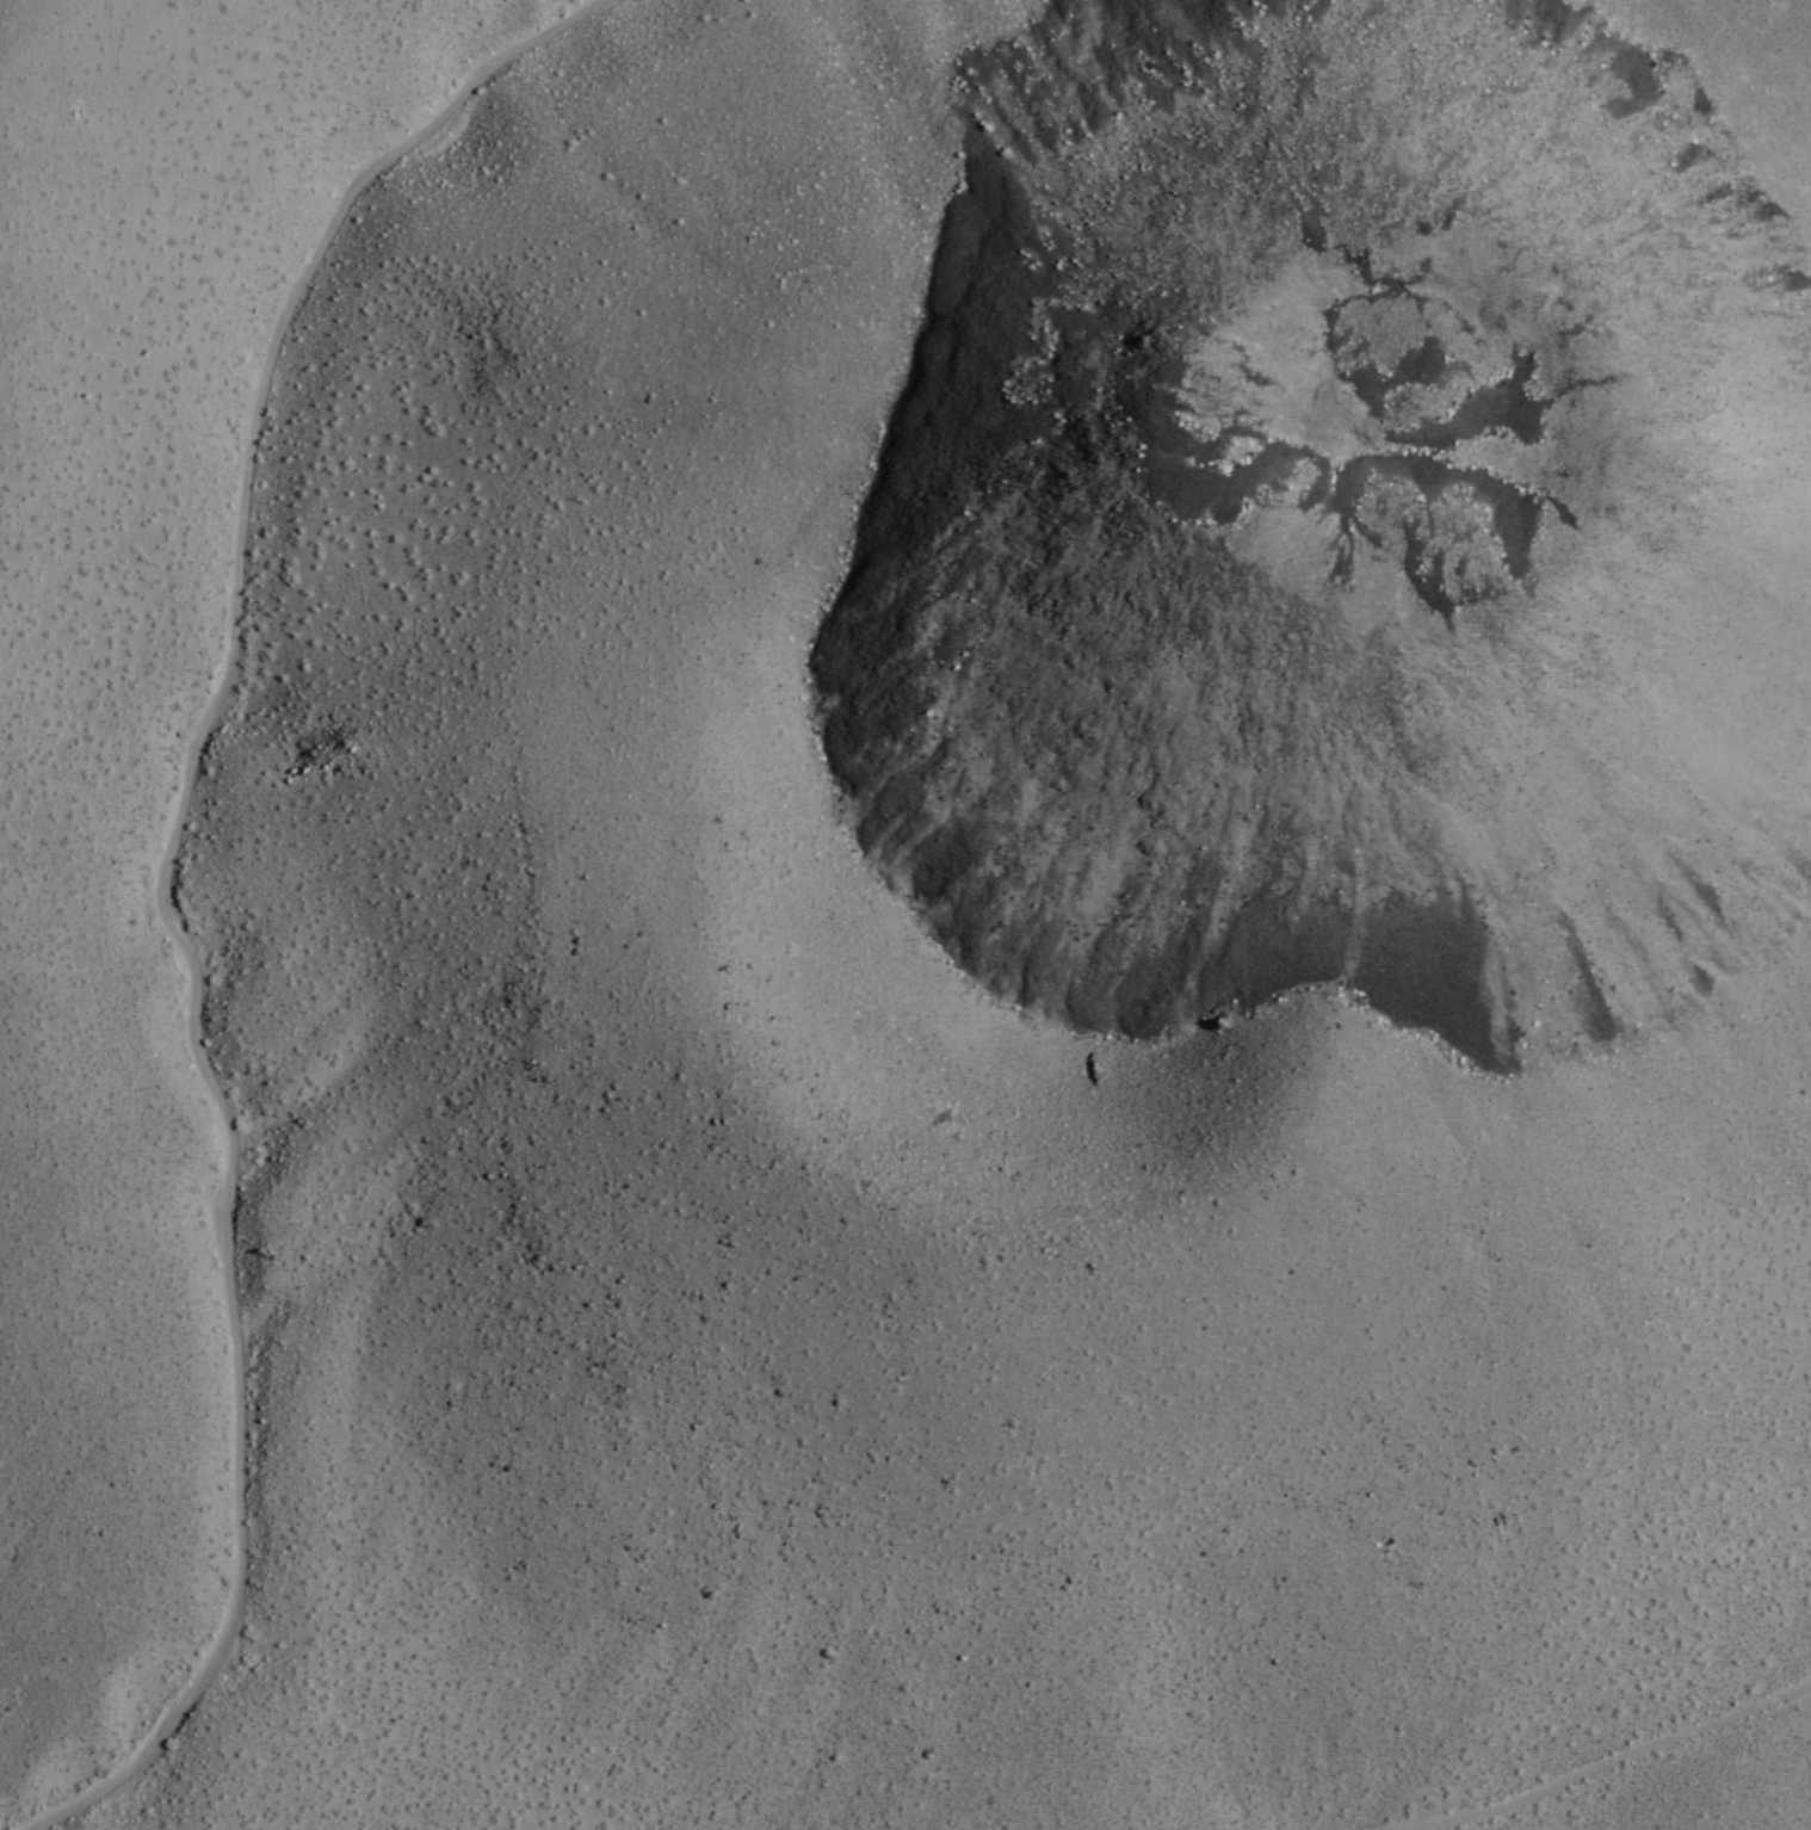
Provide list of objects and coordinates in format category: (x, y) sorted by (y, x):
road: (1599, 1761)

